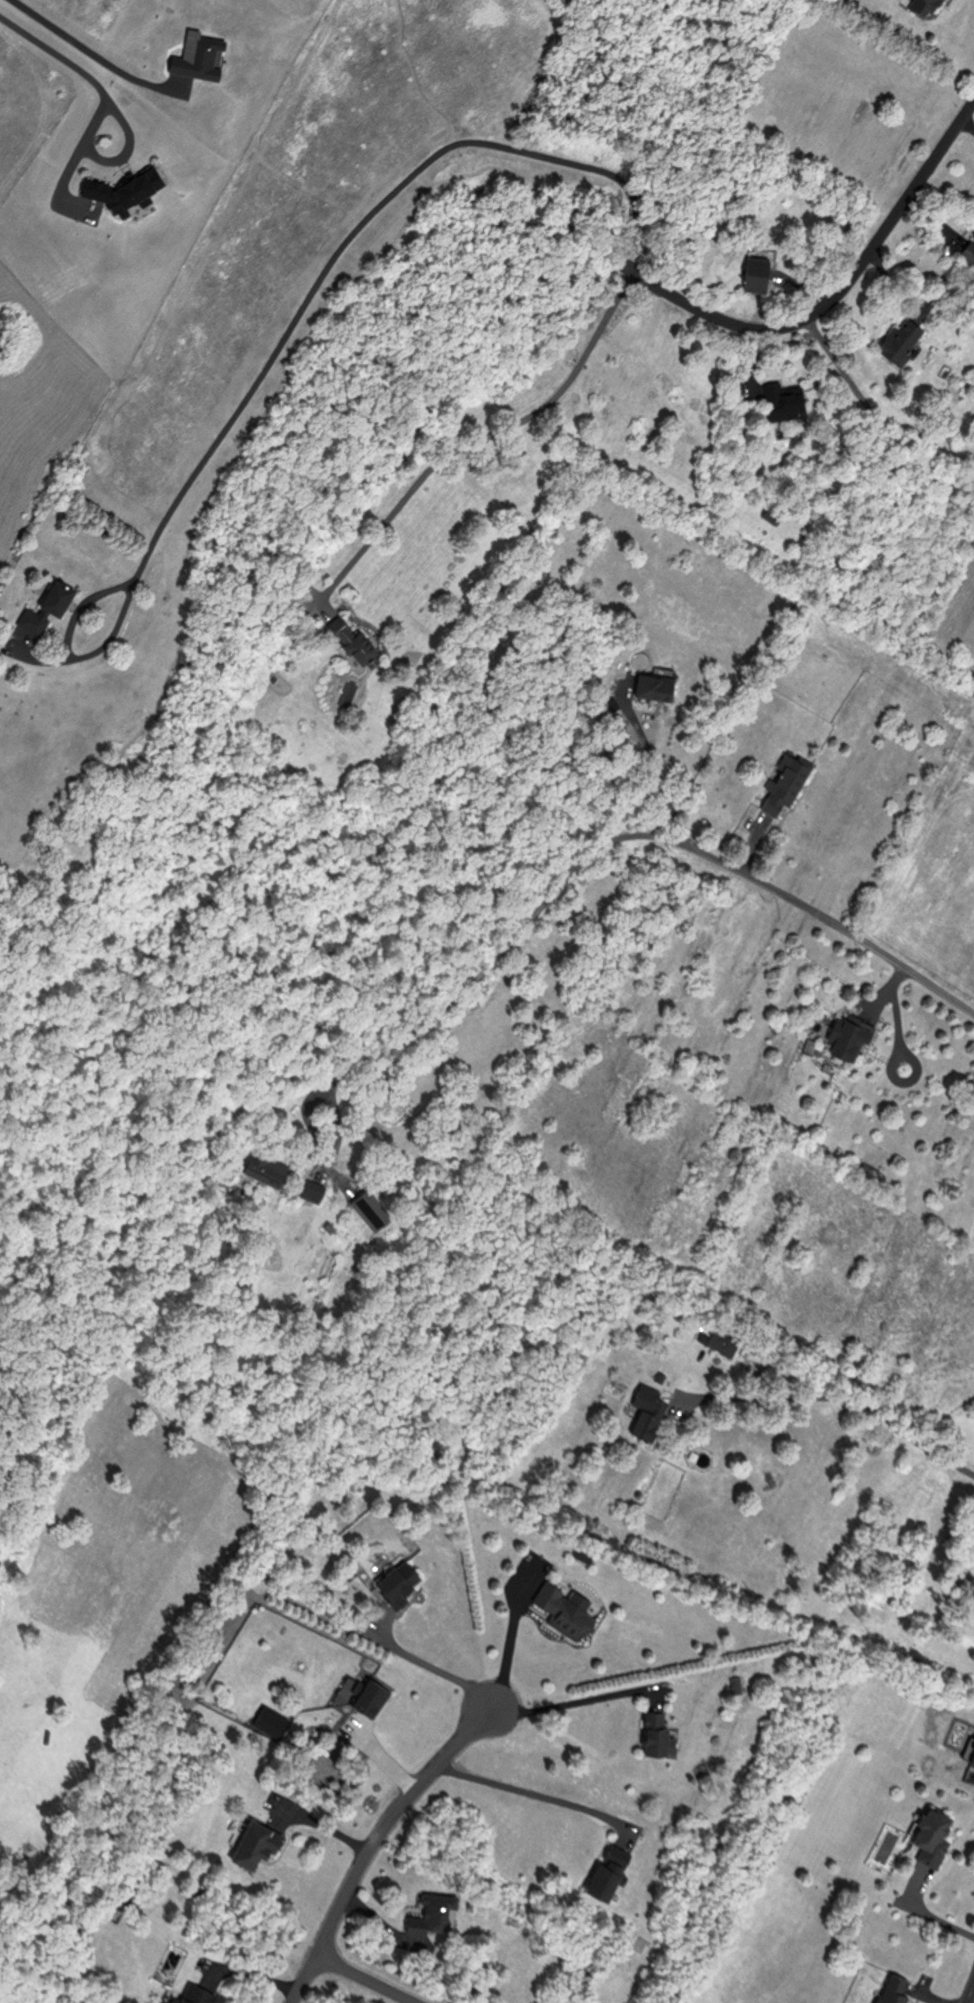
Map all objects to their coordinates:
building: (925, 7)
road: (101, 104)
road: (967, 124)
road: (122, 147)
building: (967, 248)
building: (755, 271)
road: (840, 289)
road: (287, 328)
building: (897, 340)
building: (779, 400)
road: (485, 435)
building: (42, 607)
building: (351, 641)
building: (650, 684)
road: (659, 775)
building: (782, 781)
road: (632, 833)
building: (844, 1037)
building: (263, 1166)
building: (311, 1190)
building: (711, 1335)
road: (841, 1398)
building: (645, 1413)
building: (394, 1582)
building: (559, 1610)
road: (510, 1640)
road: (437, 1668)
building: (368, 1697)
road: (564, 1703)
building: (652, 1732)
building: (971, 1742)
road: (528, 1793)
road: (322, 1827)
building: (929, 1829)
building: (259, 1842)
road: (373, 1843)
building: (606, 1870)
building: (431, 1913)
road: (930, 1914)
road: (369, 1977)
building: (890, 1988)
road: (970, 1993)
building: (199, 1994)

